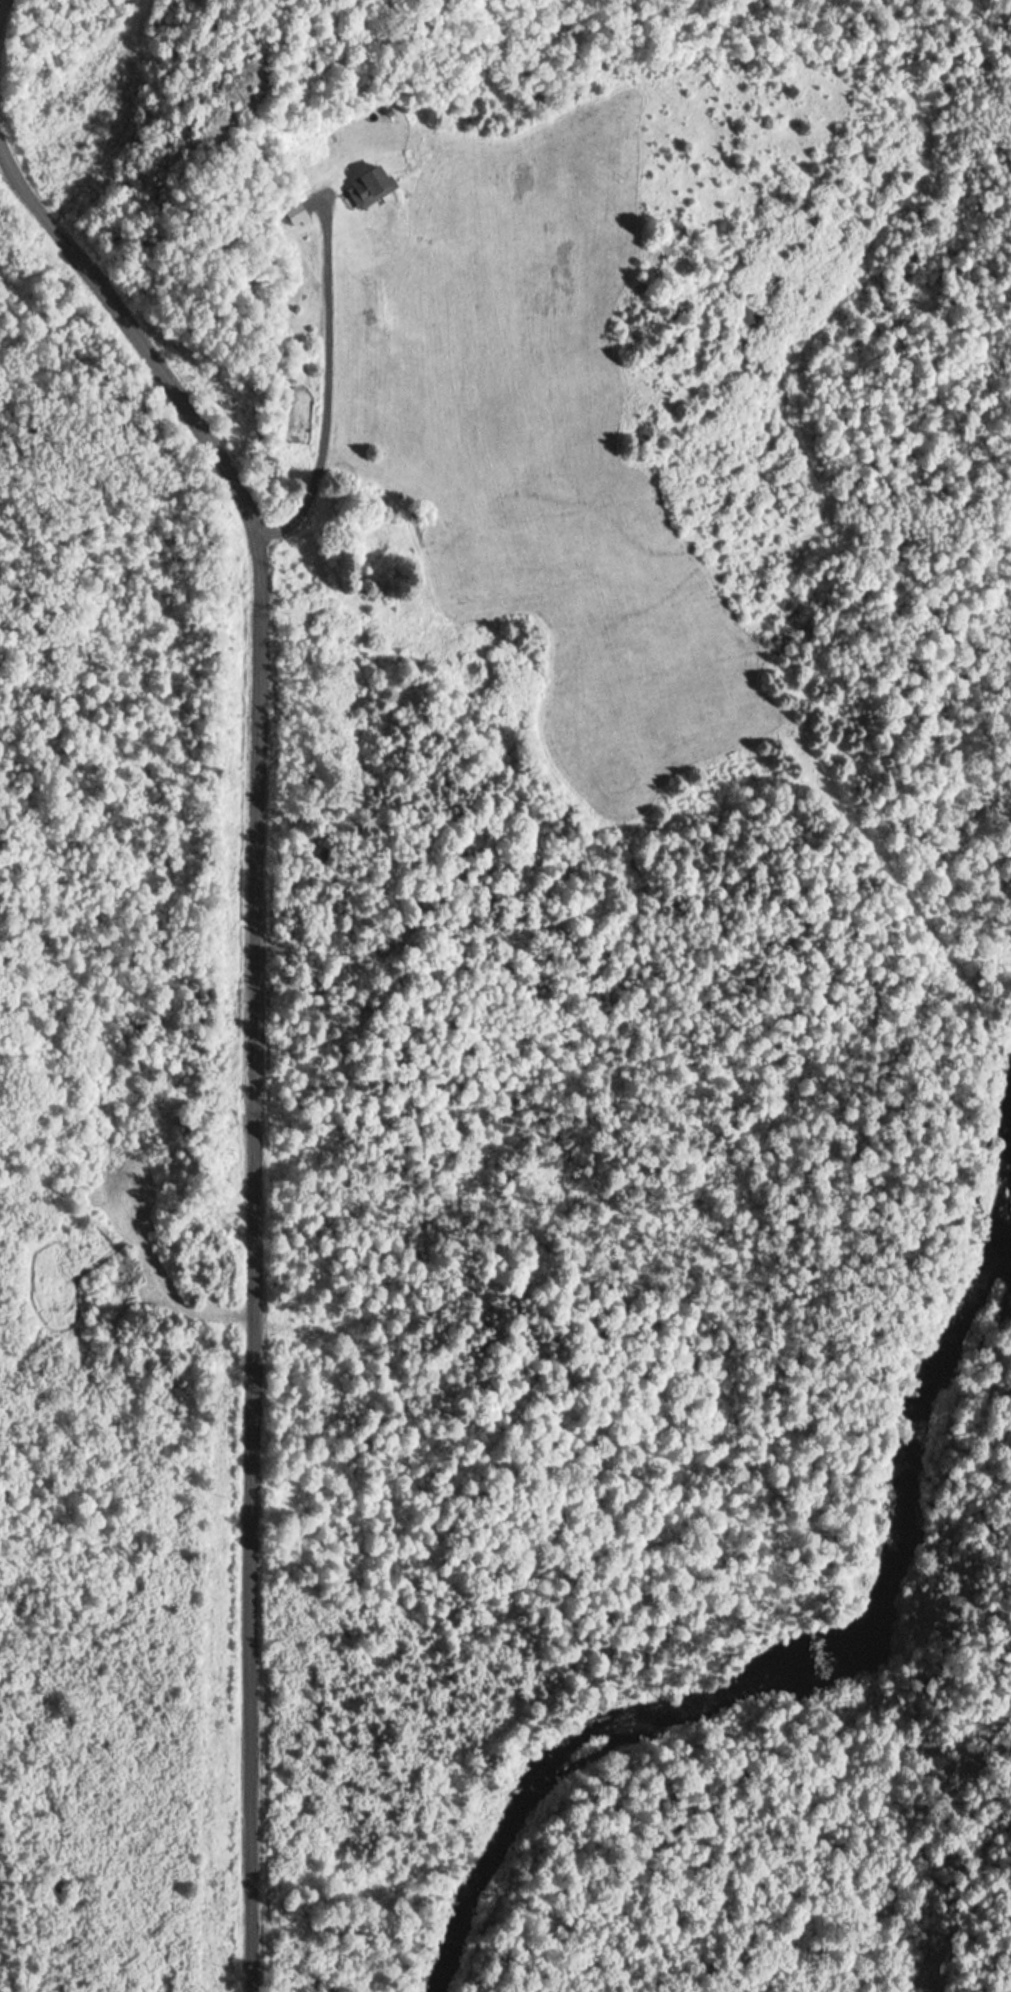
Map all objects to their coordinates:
building: (361, 186)
road: (221, 1049)
river: (874, 1602)

